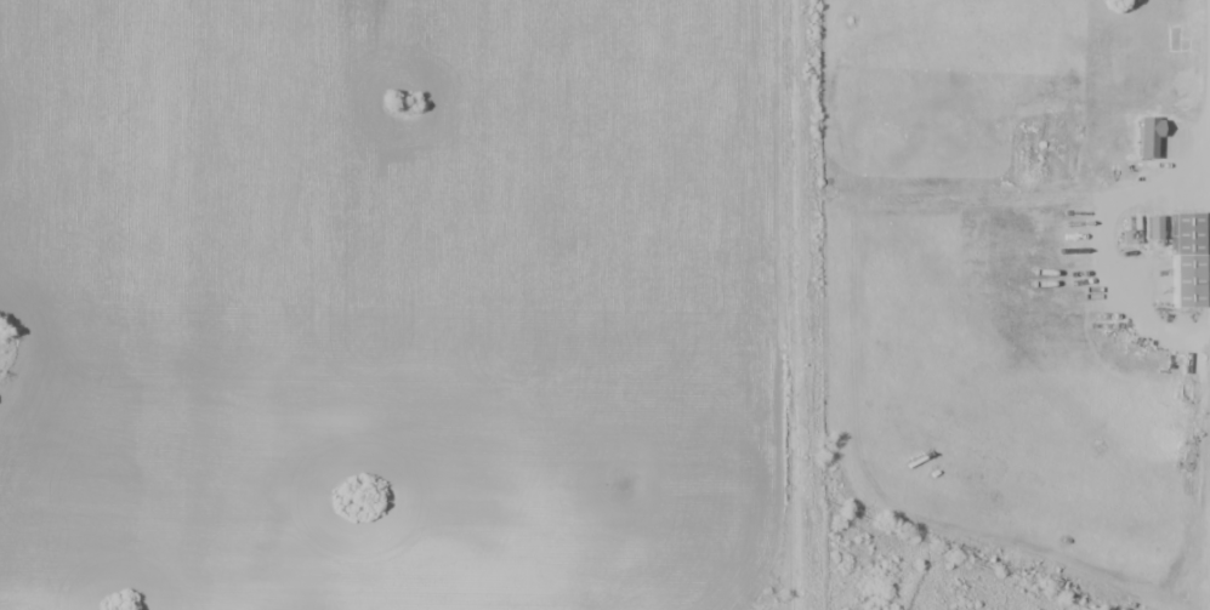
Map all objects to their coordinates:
building: (1147, 136)
building: (1153, 227)
building: (1192, 264)
crop: (387, 303)
road: (805, 304)

